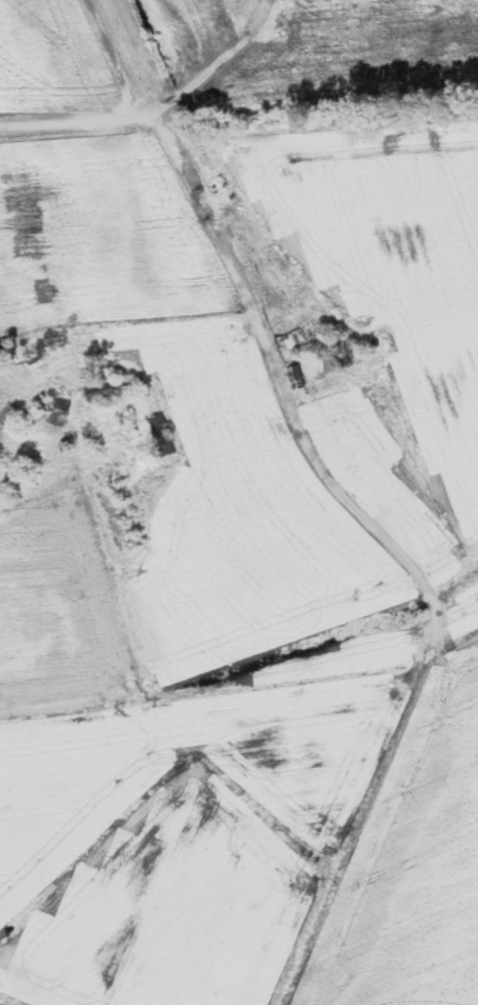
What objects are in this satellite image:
road: (150, 113)
building: (295, 337)
building: (294, 378)
building: (47, 404)
building: (160, 435)

